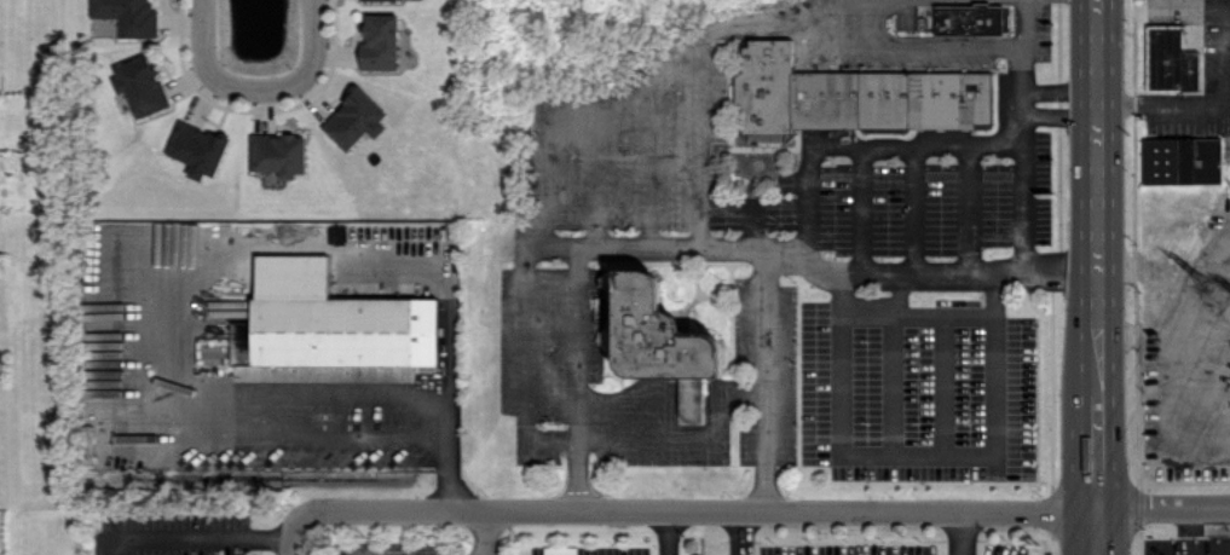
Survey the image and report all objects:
road: (1190, 2)
building: (129, 15)
building: (968, 18)
building: (380, 41)
parking lot: (1215, 47)
road: (1220, 52)
building: (1167, 59)
road: (654, 60)
road: (1016, 67)
building: (139, 79)
road: (260, 87)
road: (1056, 87)
building: (849, 96)
road: (1162, 102)
building: (356, 112)
road: (1056, 116)
road: (695, 140)
road: (849, 141)
building: (198, 143)
building: (278, 149)
building: (1180, 161)
road: (1096, 195)
road: (859, 206)
road: (912, 206)
road: (963, 206)
road: (230, 264)
road: (1224, 266)
road: (814, 271)
power tower: (1218, 289)
road: (1207, 329)
building: (337, 331)
building: (663, 341)
road: (519, 342)
parking lot: (1193, 360)
road: (1165, 363)
road: (571, 376)
road: (1197, 377)
road: (312, 434)
road: (884, 443)
building: (87, 444)
road: (1098, 449)
road: (899, 466)
road: (766, 508)
road: (955, 531)
road: (1099, 531)
road: (481, 532)
road: (659, 532)
road: (733, 532)
road: (229, 539)
road: (117, 540)
road: (289, 547)

